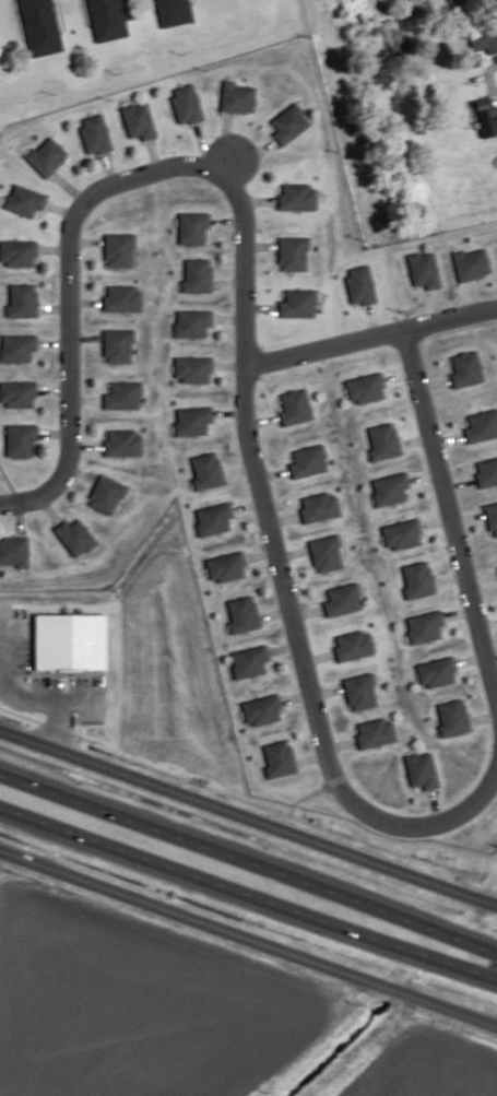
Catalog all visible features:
building: (173, 12)
building: (106, 20)
building: (39, 27)
building: (480, 39)
building: (236, 98)
building: (185, 106)
building: (488, 120)
building: (138, 121)
building: (287, 123)
building: (93, 137)
building: (496, 153)
building: (44, 156)
building: (297, 197)
building: (24, 201)
road: (79, 203)
building: (194, 228)
building: (119, 250)
building: (17, 252)
building: (294, 255)
building: (470, 263)
building: (423, 271)
building: (196, 276)
building: (358, 287)
building: (20, 298)
building: (120, 298)
building: (296, 303)
road: (447, 318)
building: (193, 325)
building: (119, 346)
building: (17, 347)
building: (463, 369)
building: (193, 370)
building: (365, 389)
building: (17, 394)
building: (121, 394)
building: (293, 406)
building: (193, 421)
building: (481, 425)
building: (22, 440)
building: (381, 441)
building: (122, 443)
road: (431, 451)
building: (307, 462)
building: (205, 471)
building: (486, 473)
building: (390, 490)
building: (106, 496)
building: (319, 505)
building: (490, 518)
building: (213, 519)
building: (402, 534)
building: (72, 537)
building: (13, 553)
building: (326, 554)
building: (226, 568)
building: (417, 581)
building: (341, 600)
building: (241, 614)
building: (425, 627)
building: (352, 646)
crop: (122, 660)
building: (250, 662)
building: (437, 673)
road: (303, 681)
building: (359, 692)
building: (262, 710)
building: (451, 717)
building: (376, 733)
building: (277, 759)
building: (422, 771)
road: (248, 821)
road: (248, 861)
road: (248, 900)
road: (248, 939)

